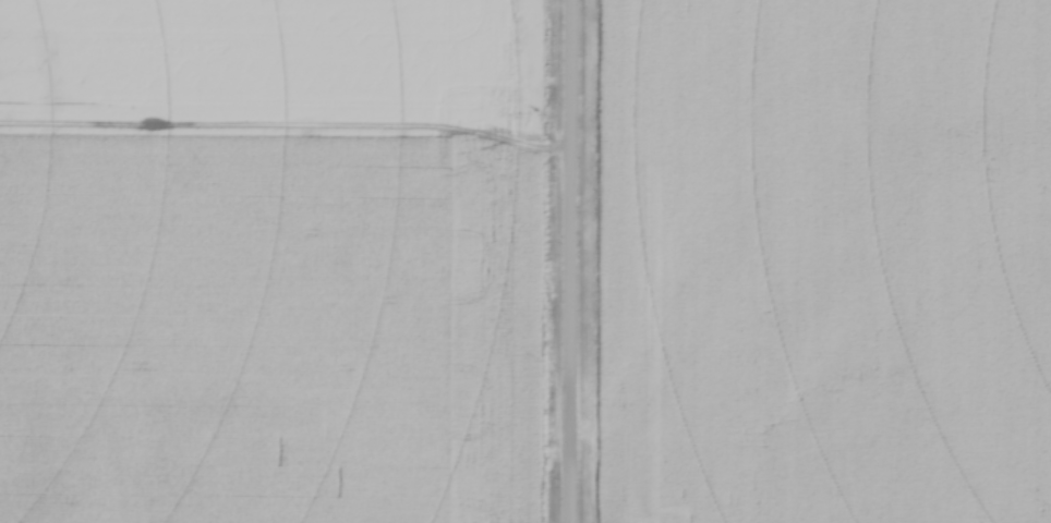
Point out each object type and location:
road: (572, 260)

